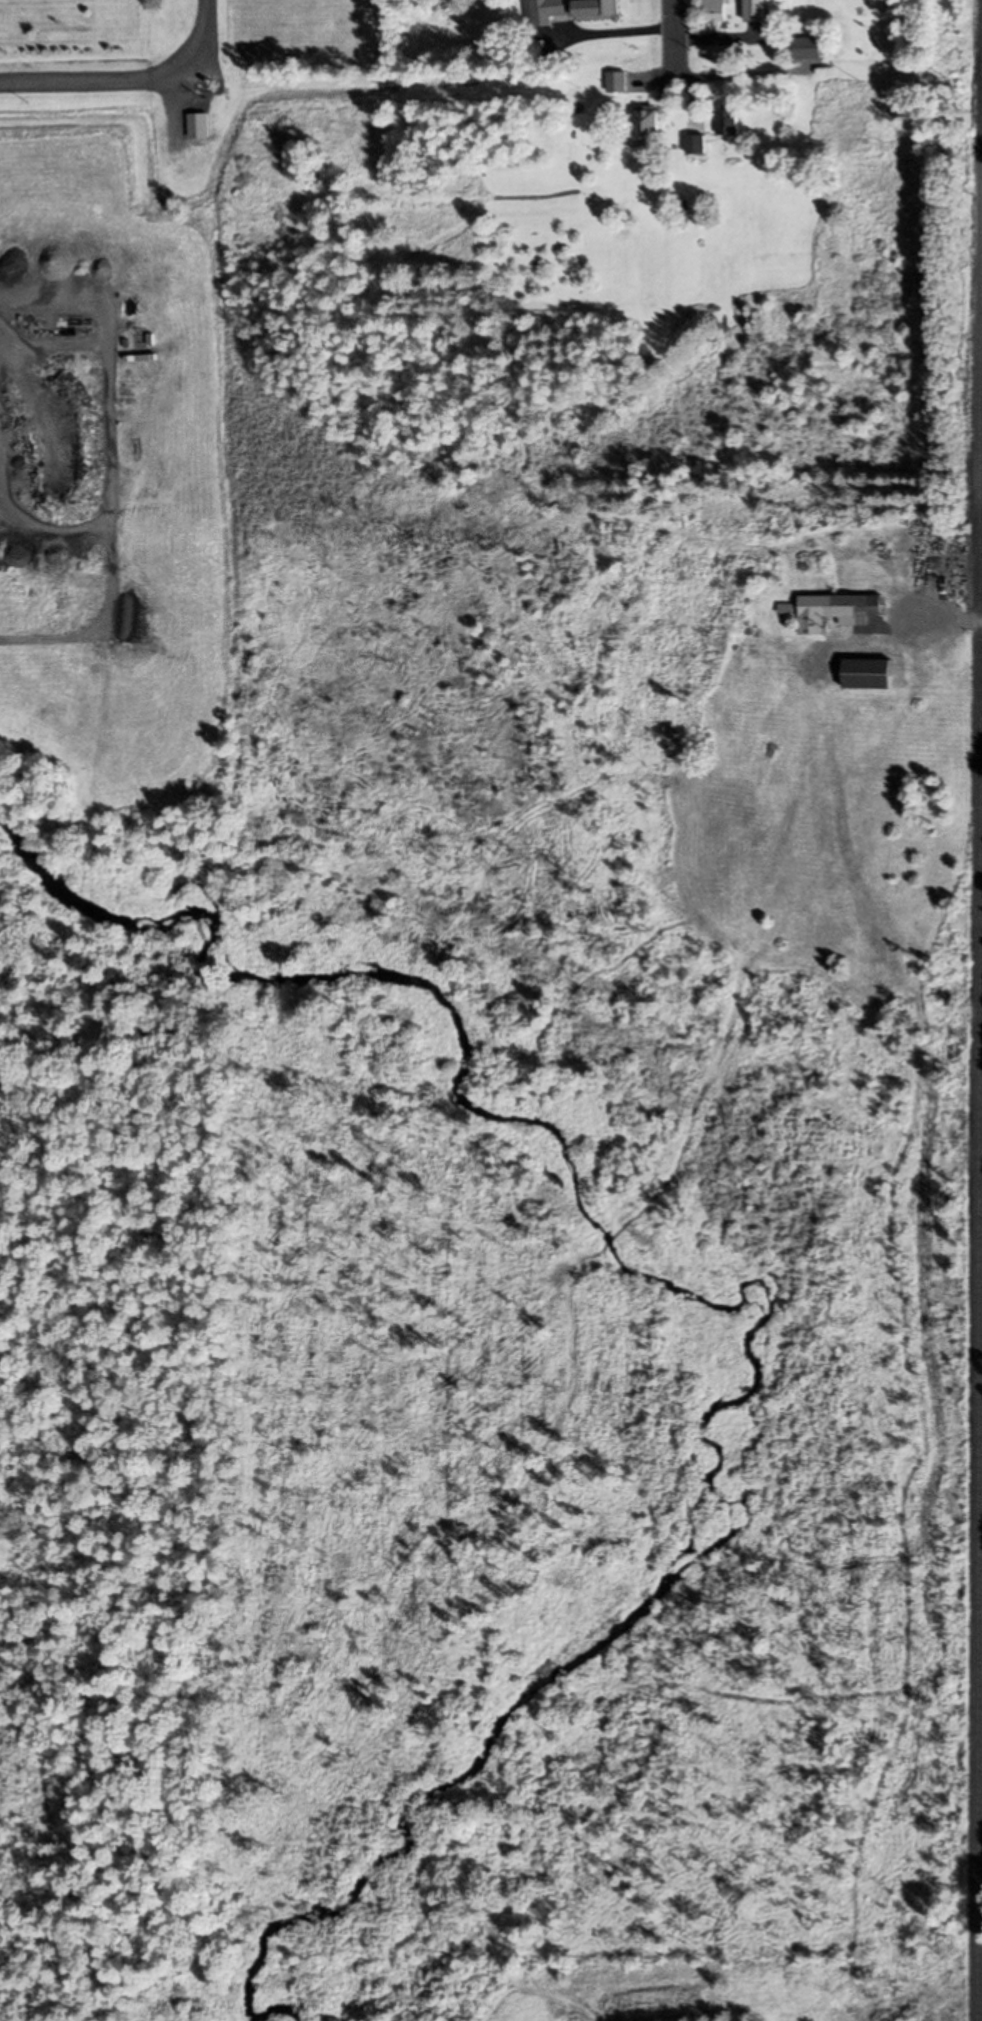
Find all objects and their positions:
road: (677, 6)
building: (603, 9)
building: (761, 10)
building: (721, 12)
park: (93, 33)
road: (203, 33)
road: (677, 43)
building: (812, 46)
road: (94, 79)
building: (620, 81)
road: (174, 110)
building: (733, 121)
building: (652, 124)
building: (203, 125)
building: (846, 130)
building: (700, 142)
building: (876, 146)
building: (84, 243)
building: (841, 608)
road: (943, 618)
building: (874, 672)
railway: (980, 1495)

